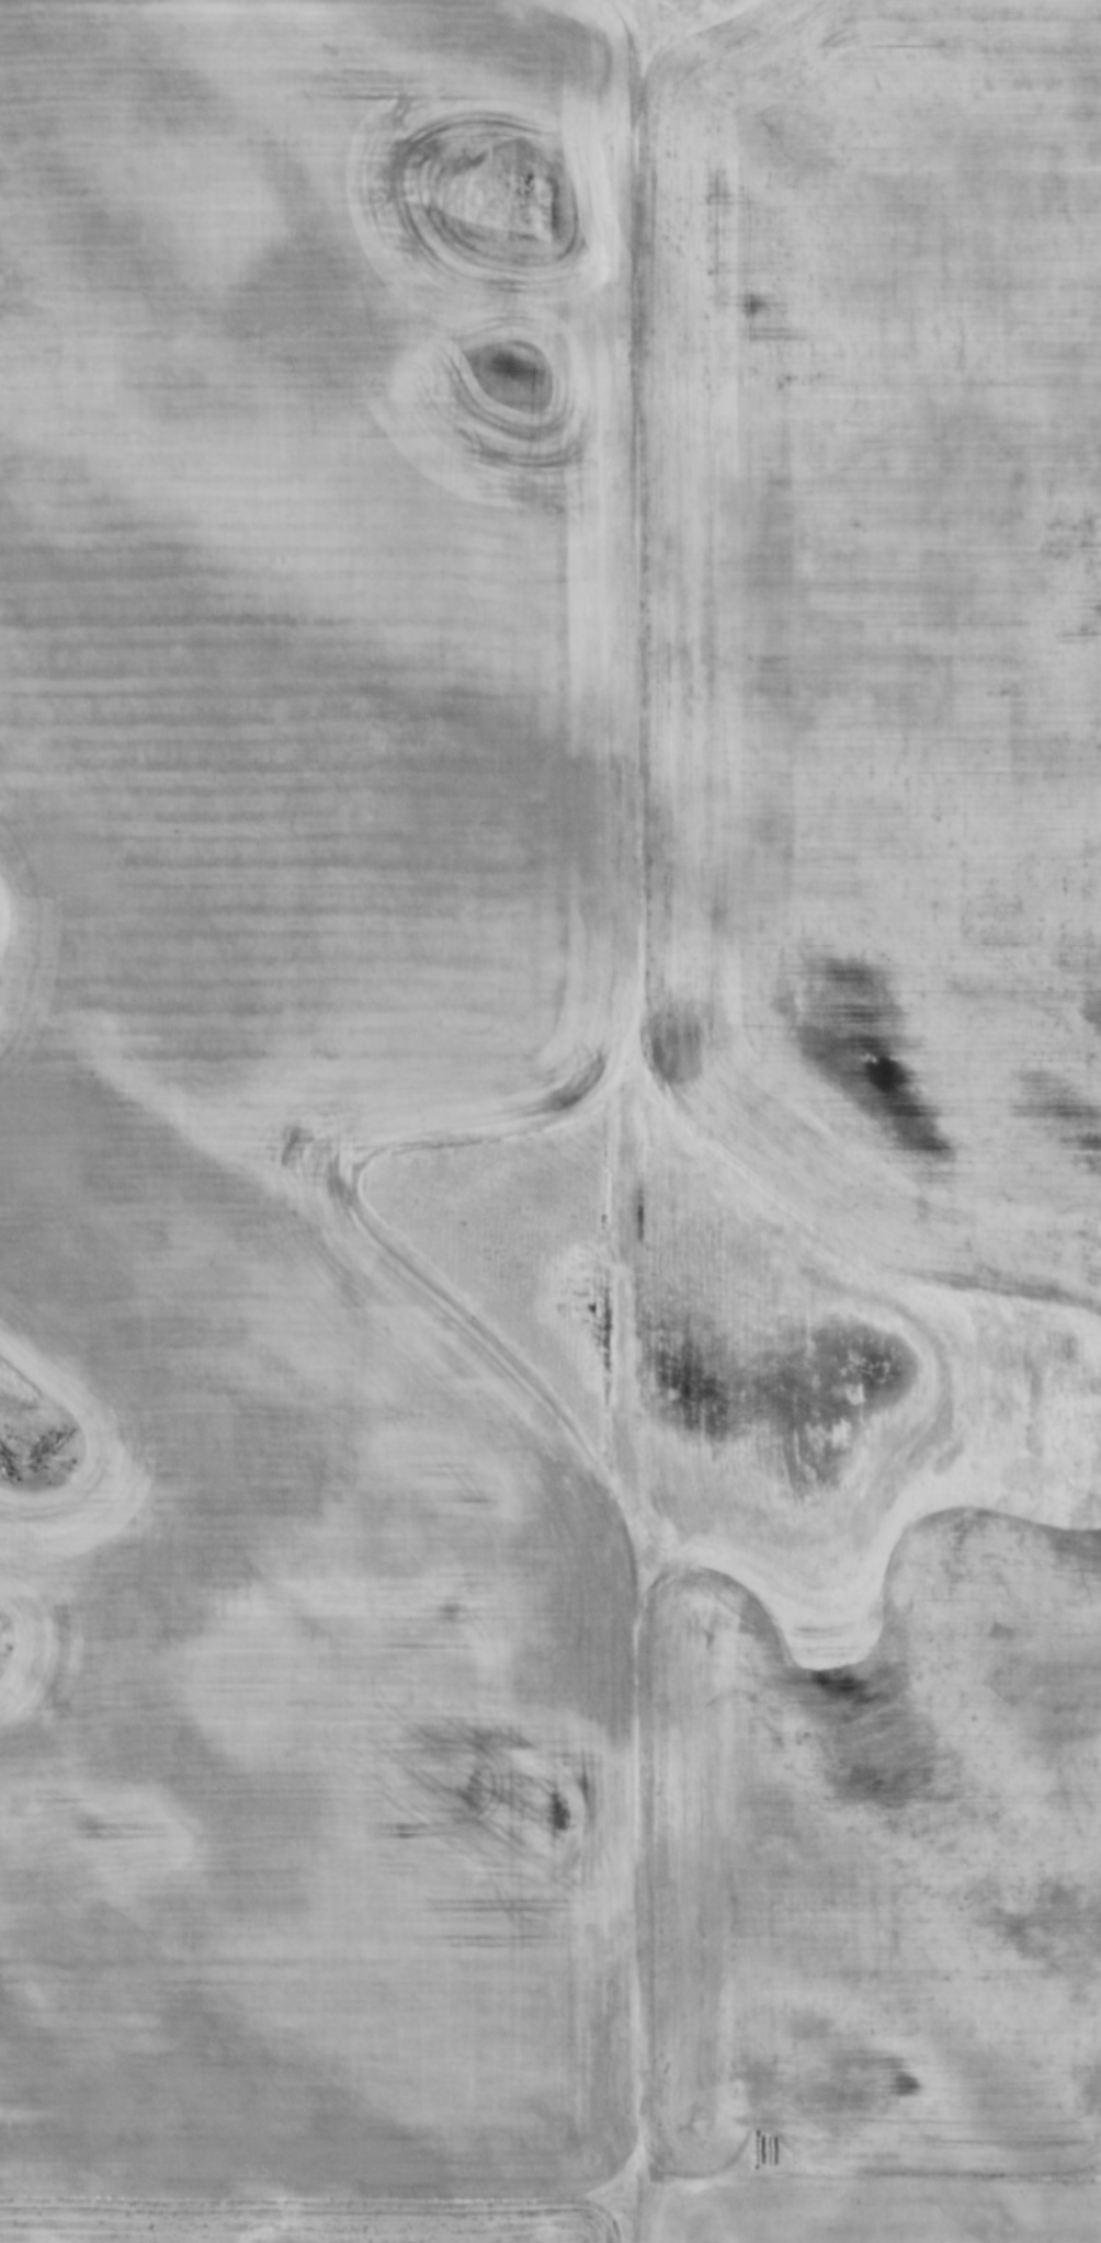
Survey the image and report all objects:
road: (632, 1121)

